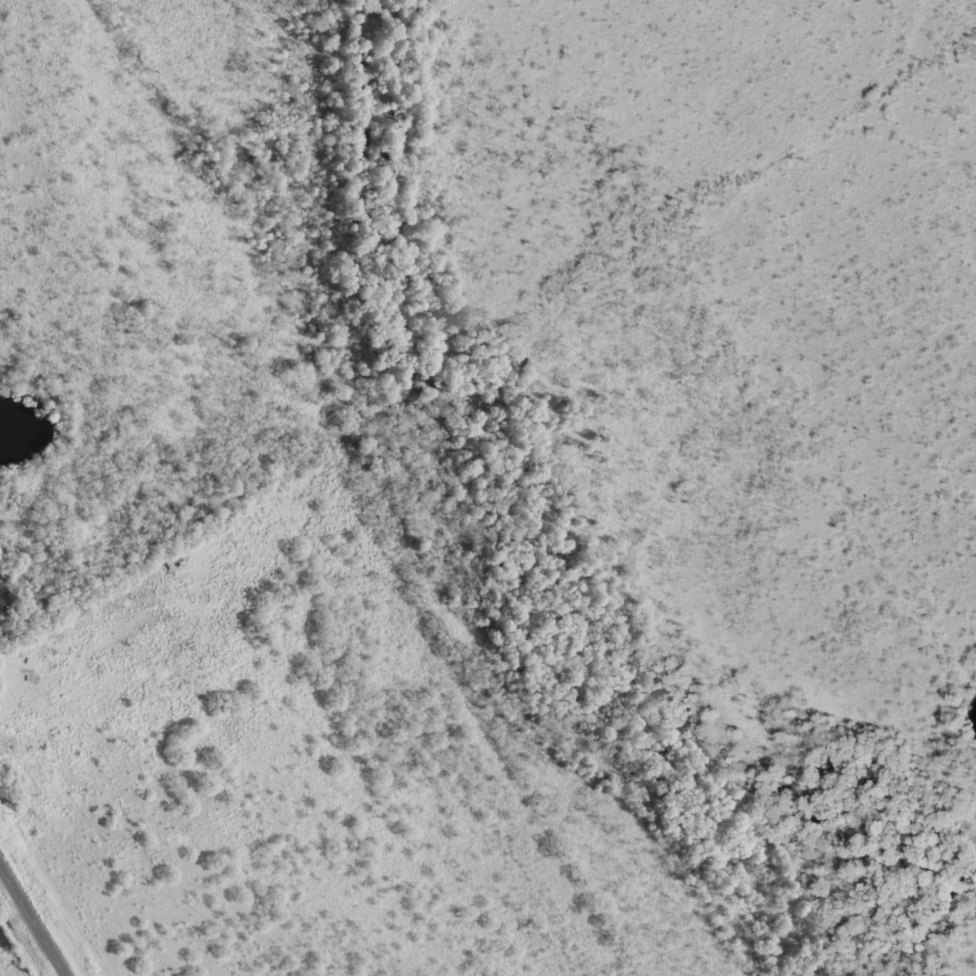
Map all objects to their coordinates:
road: (33, 920)

